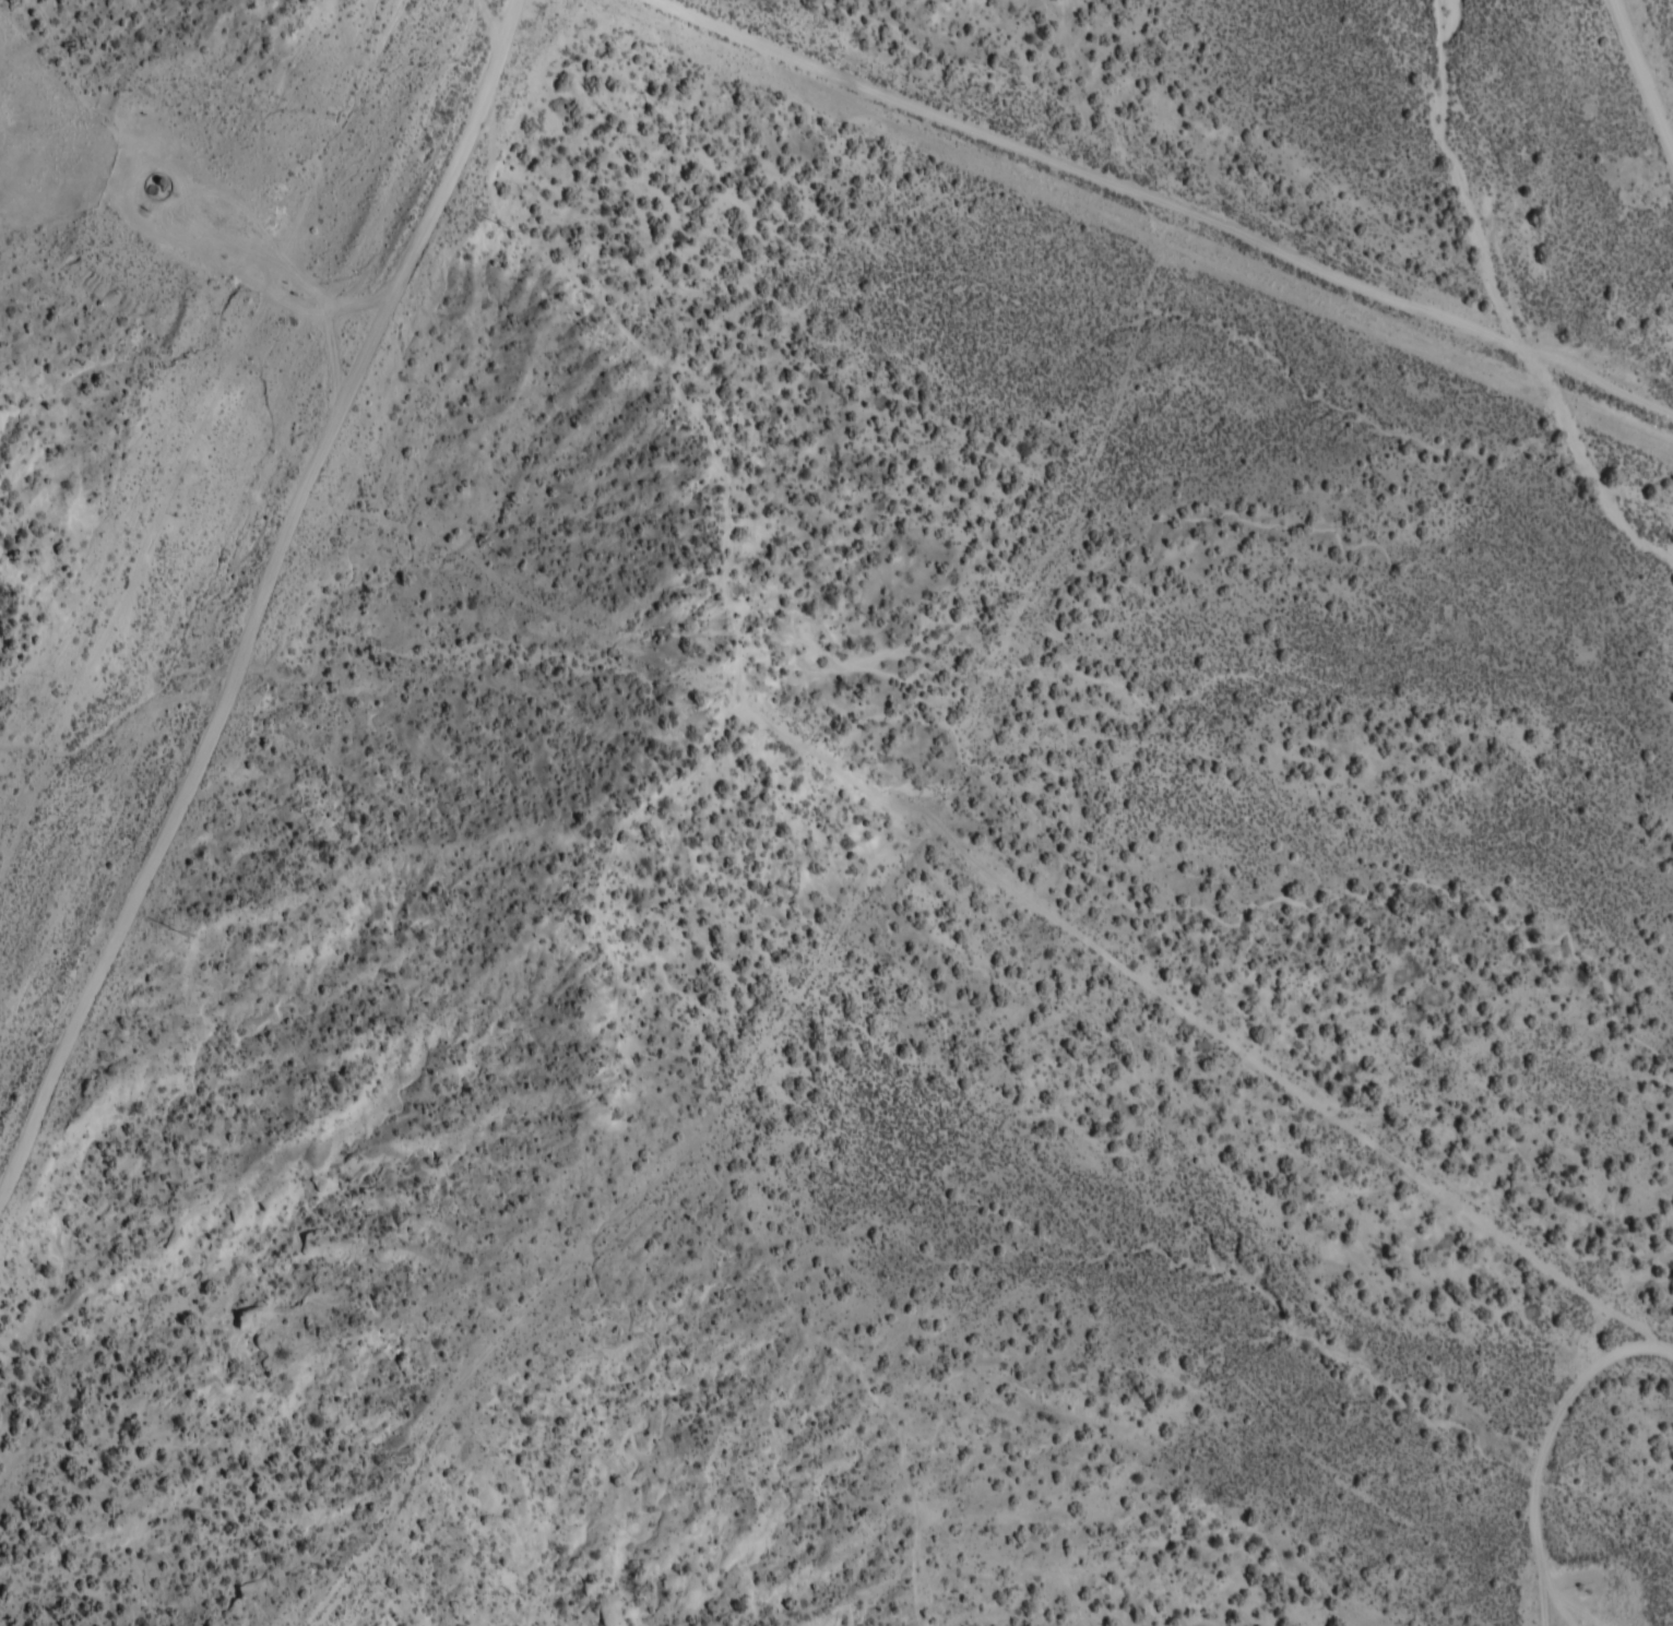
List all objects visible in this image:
road: (1653, 43)
road: (463, 150)
road: (1165, 202)
road: (183, 250)
river: (1514, 296)
road: (355, 305)
road: (204, 746)
road: (1566, 1470)

